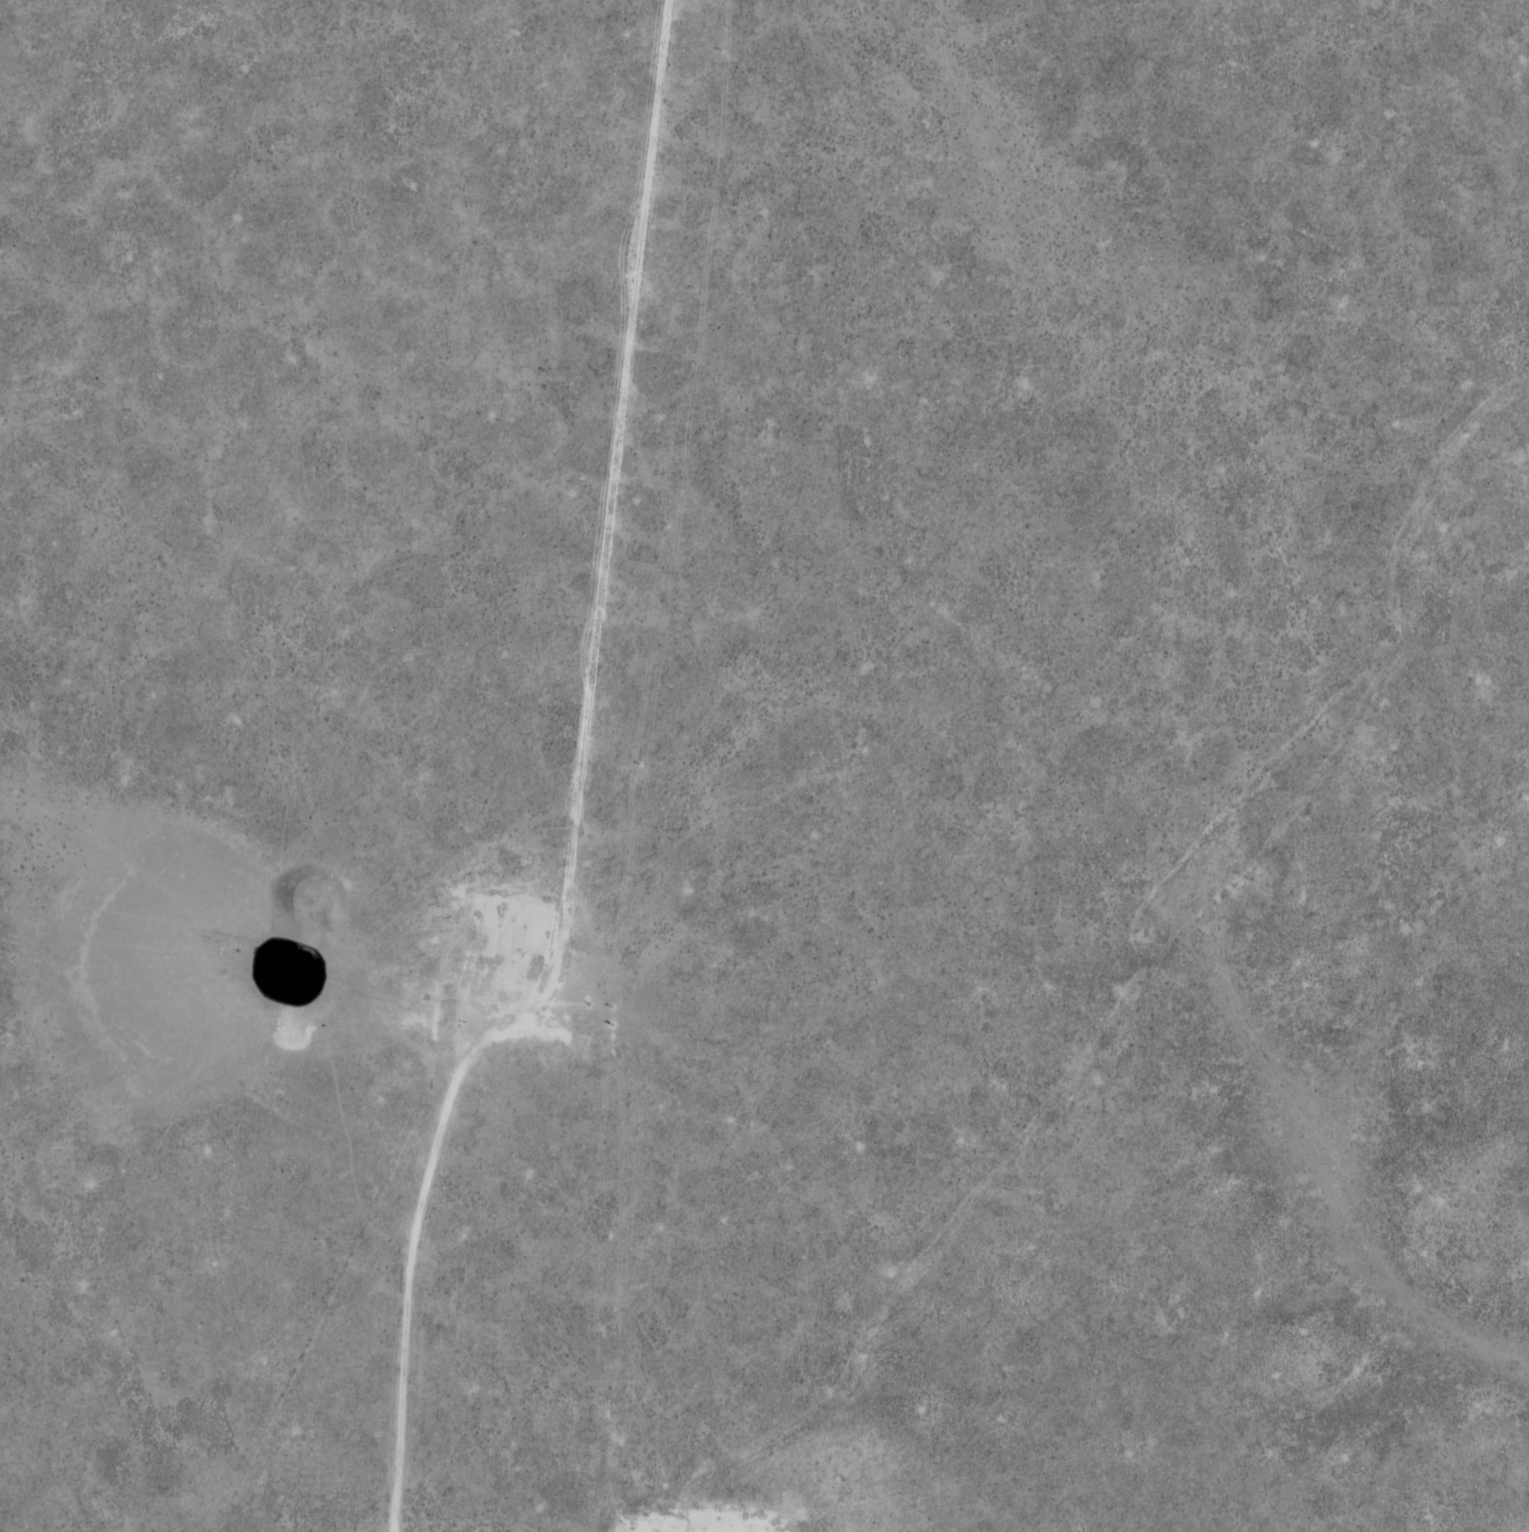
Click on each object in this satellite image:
road: (409, 1272)

